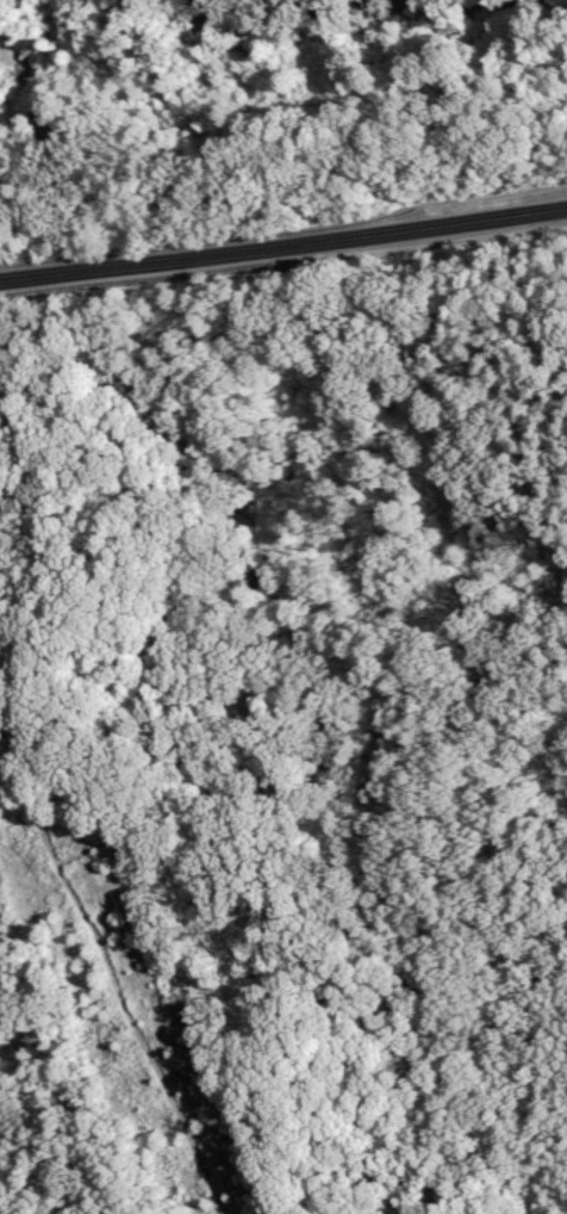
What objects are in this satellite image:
road: (89, 8)
road: (283, 246)

